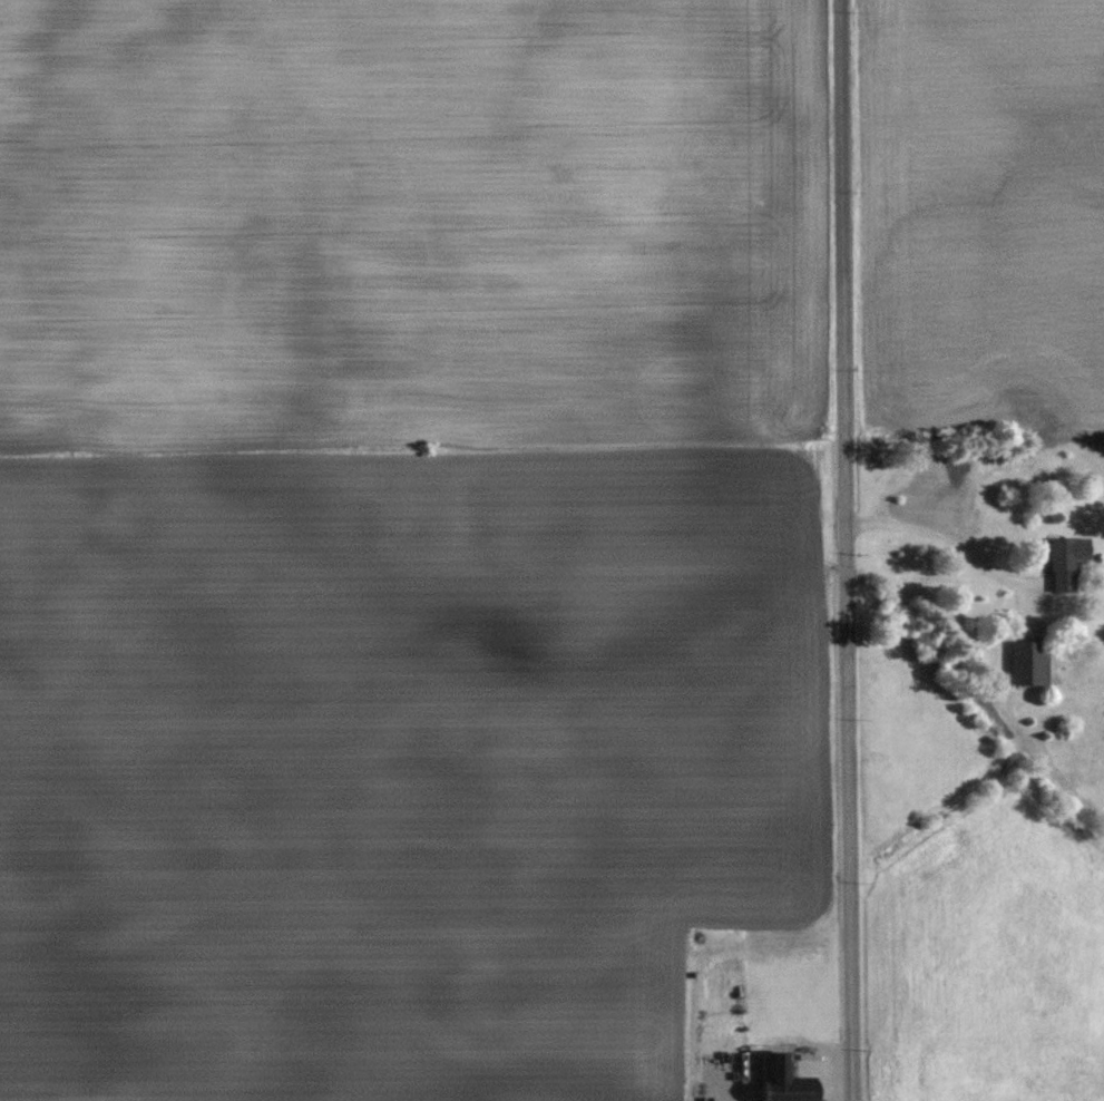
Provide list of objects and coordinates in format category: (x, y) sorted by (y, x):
road: (944, 543)
road: (847, 550)
building: (1066, 559)
building: (1029, 662)
building: (723, 1069)
building: (782, 1078)

